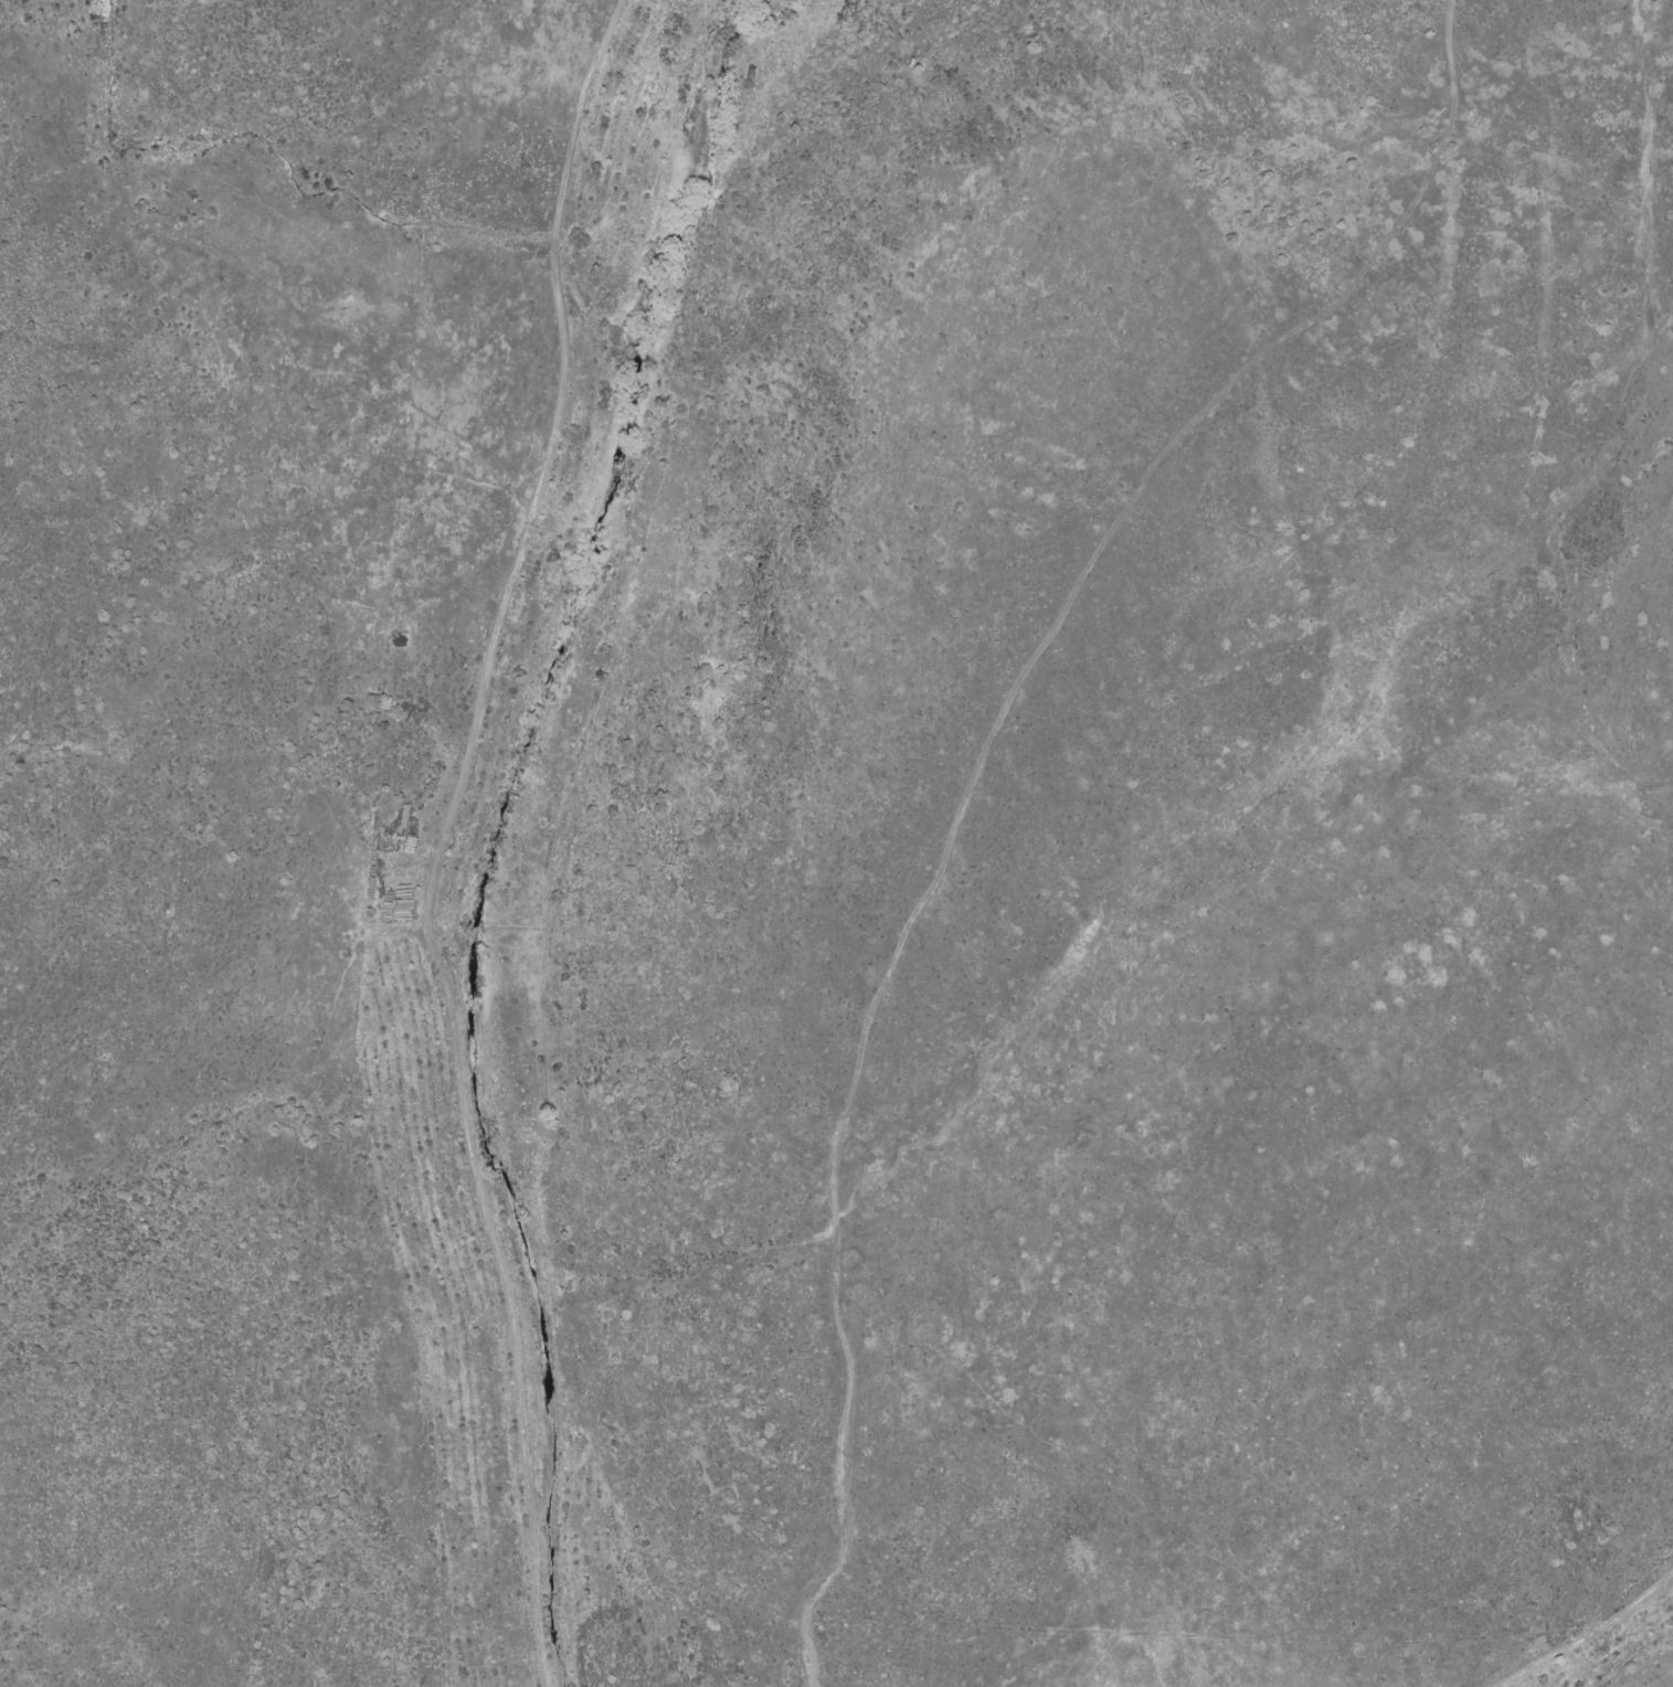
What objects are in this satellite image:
road: (972, 778)
road: (448, 837)
road: (1590, 1636)

